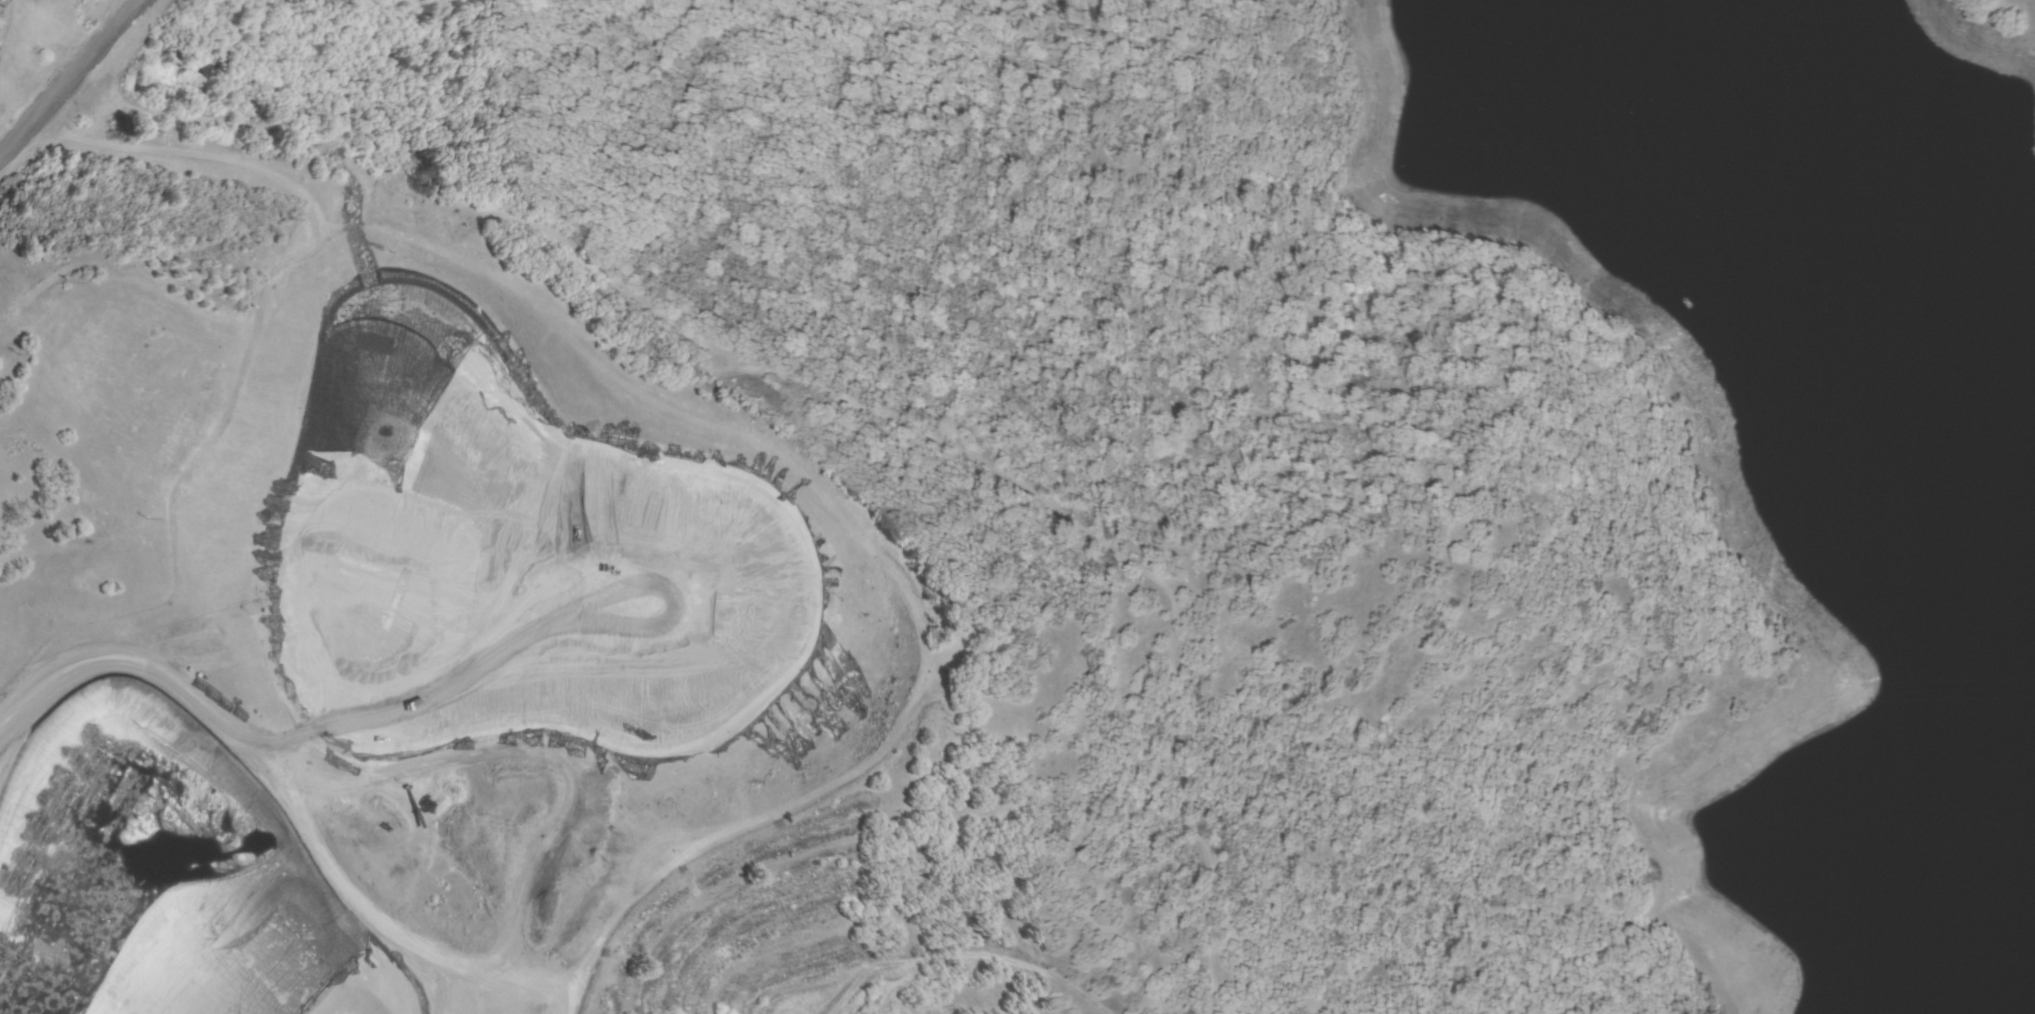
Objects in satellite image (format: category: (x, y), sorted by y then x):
road: (68, 78)

